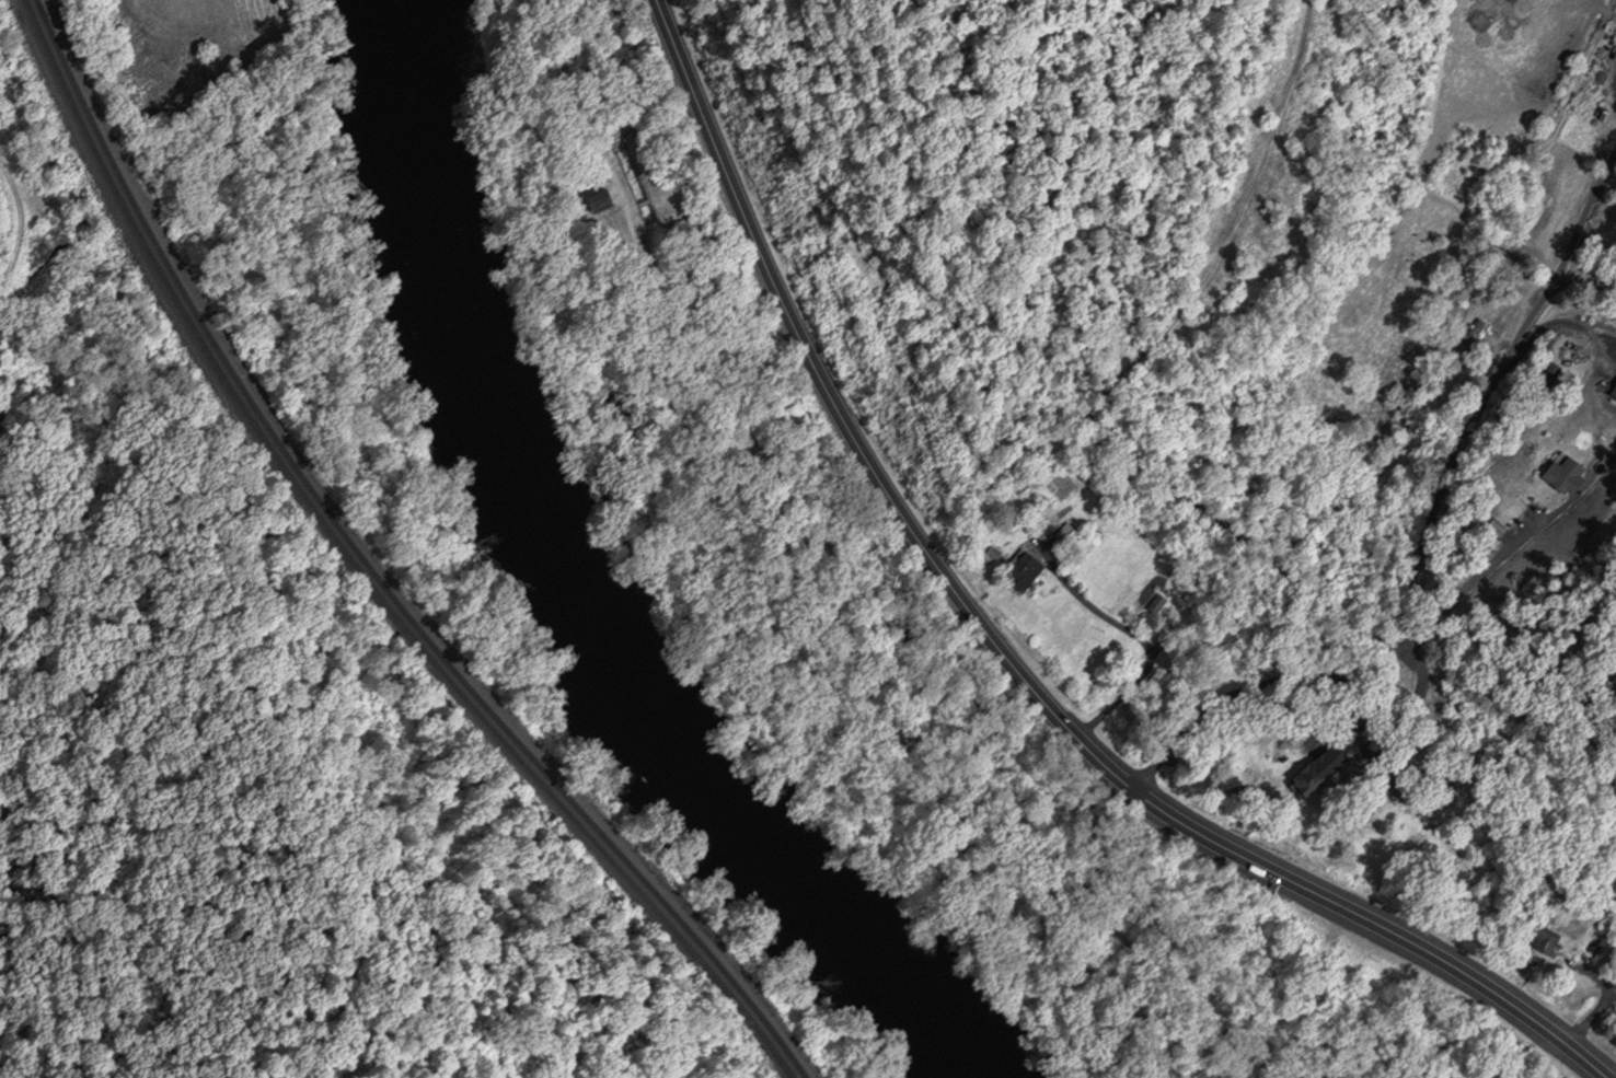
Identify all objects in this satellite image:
building: (598, 200)
road: (1231, 225)
road: (682, 338)
building: (1613, 392)
building: (1562, 475)
road: (1251, 544)
road: (1498, 559)
railway: (362, 571)
railway: (374, 571)
building: (1021, 571)
road: (1416, 573)
river: (582, 598)
road: (1138, 637)
road: (899, 640)
road: (1002, 654)
building: (1326, 760)
building: (1305, 778)
building: (1439, 784)
building: (1387, 785)
road: (1064, 861)
building: (1542, 938)

